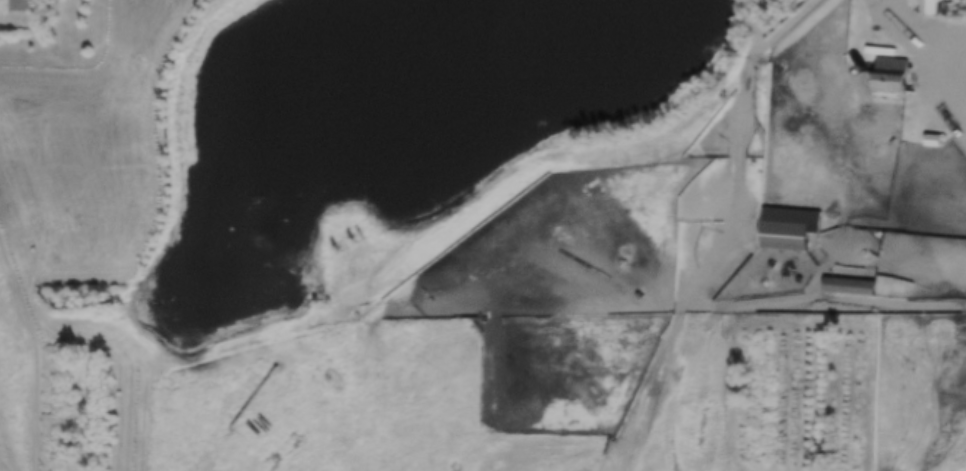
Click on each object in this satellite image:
building: (24, 6)
building: (931, 7)
road: (927, 29)
road: (788, 30)
building: (895, 64)
road: (916, 67)
building: (791, 229)
road: (736, 250)
building: (852, 287)
road: (683, 318)

